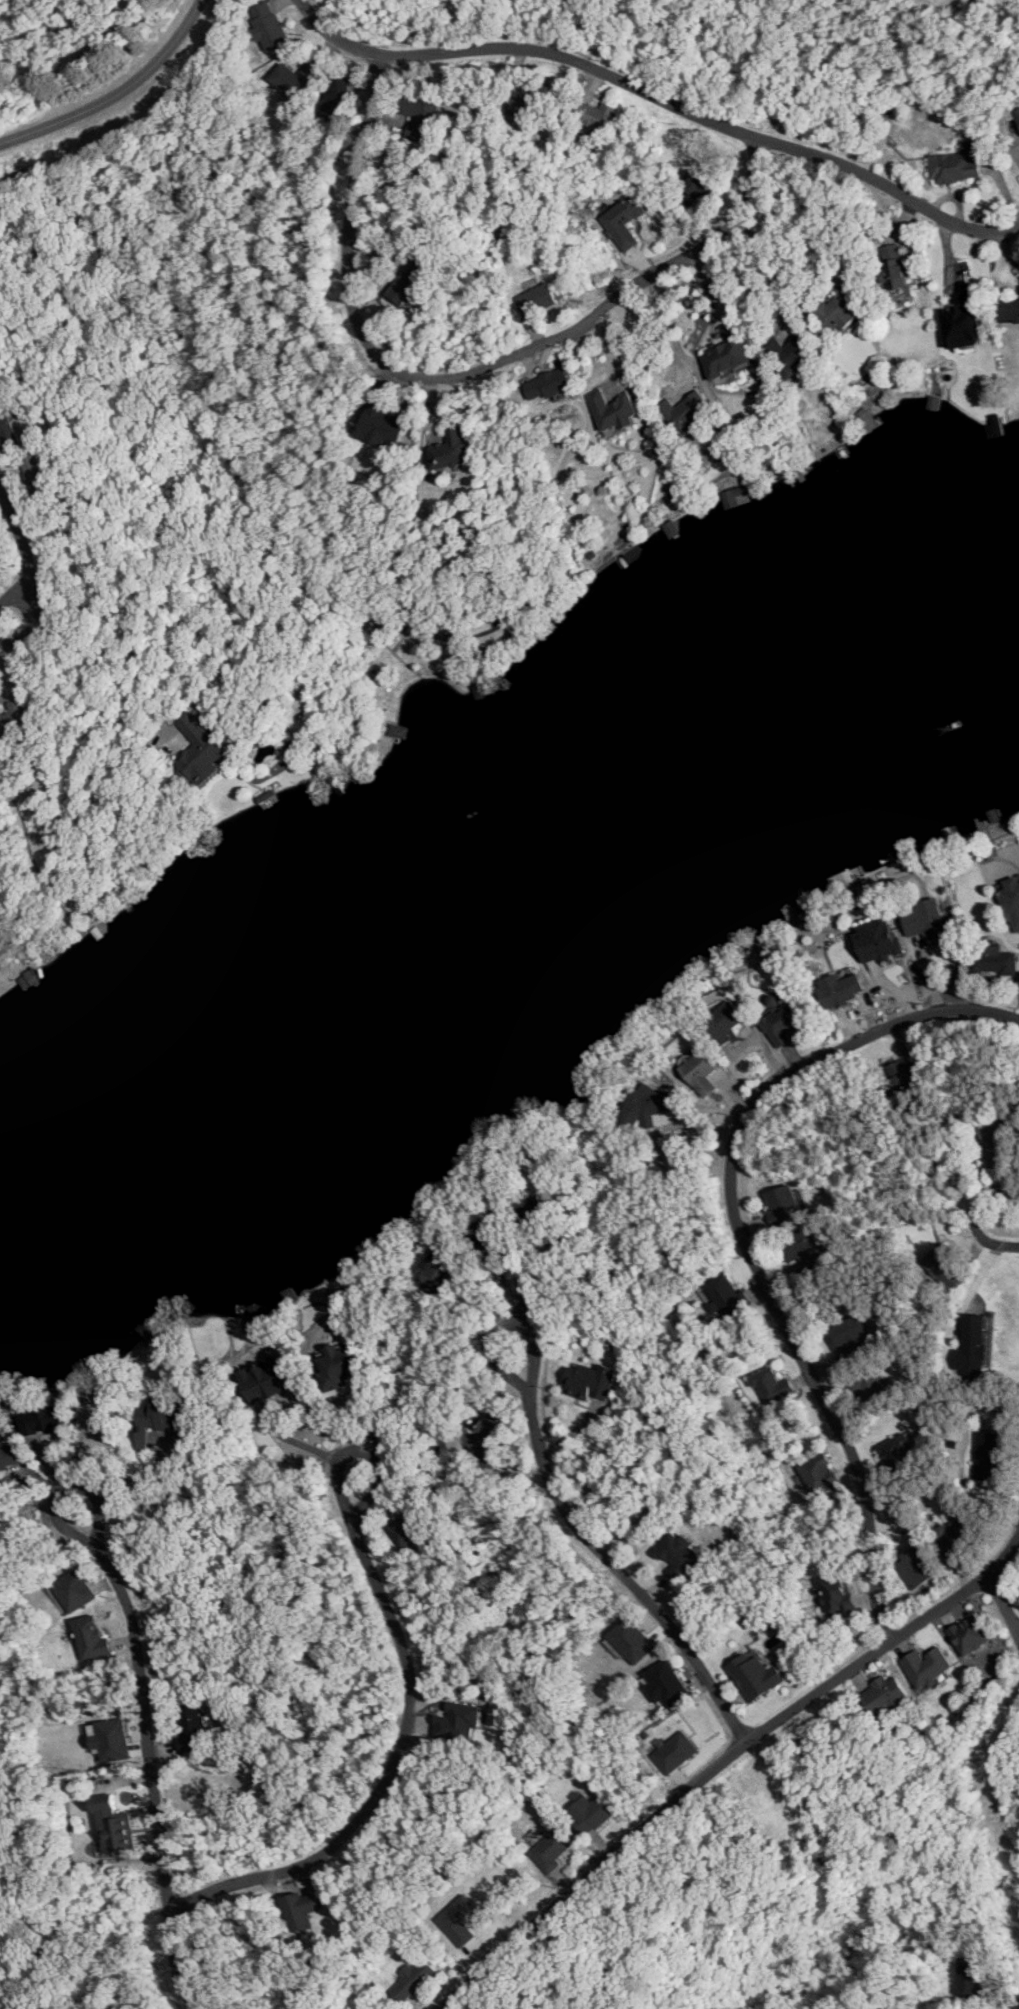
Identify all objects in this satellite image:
building: (268, 25)
road: (63, 59)
building: (294, 80)
road: (116, 90)
building: (336, 98)
road: (660, 98)
road: (39, 99)
building: (526, 101)
building: (1016, 114)
building: (600, 116)
building: (419, 117)
building: (954, 165)
building: (697, 187)
building: (623, 221)
building: (892, 268)
building: (409, 284)
building: (536, 299)
building: (1009, 310)
building: (839, 312)
building: (964, 321)
road: (673, 336)
building: (727, 351)
road: (465, 370)
building: (550, 383)
building: (615, 410)
building: (688, 411)
building: (382, 423)
building: (9, 431)
building: (451, 450)
building: (37, 474)
road: (27, 552)
road: (127, 635)
building: (13, 719)
building: (201, 750)
building: (1011, 901)
building: (923, 919)
building: (992, 960)
building: (840, 989)
building: (724, 1021)
building: (699, 1073)
building: (905, 1076)
building: (644, 1105)
building: (995, 1144)
building: (784, 1206)
building: (530, 1208)
road: (978, 1217)
road: (743, 1238)
building: (488, 1247)
building: (802, 1249)
building: (943, 1268)
building: (439, 1270)
building: (724, 1295)
building: (846, 1333)
building: (971, 1347)
building: (338, 1366)
building: (265, 1378)
building: (590, 1381)
building: (873, 1384)
building: (770, 1385)
road: (274, 1406)
road: (360, 1417)
building: (42, 1419)
building: (157, 1420)
building: (484, 1440)
building: (894, 1451)
building: (9, 1455)
building: (985, 1455)
building: (818, 1475)
road: (129, 1478)
road: (617, 1508)
building: (405, 1531)
building: (951, 1536)
building: (677, 1555)
road: (607, 1558)
building: (915, 1566)
building: (72, 1591)
building: (836, 1593)
road: (960, 1595)
road: (1004, 1599)
building: (970, 1634)
building: (91, 1638)
building: (631, 1640)
building: (926, 1667)
building: (754, 1676)
building: (665, 1684)
building: (884, 1696)
building: (457, 1721)
building: (193, 1730)
building: (110, 1739)
building: (674, 1752)
road: (400, 1753)
road: (150, 1756)
building: (589, 1813)
road: (659, 1815)
building: (113, 1825)
building: (551, 1850)
building: (299, 1911)
building: (459, 1920)
building: (970, 1977)
building: (412, 1980)
road: (1016, 2005)

